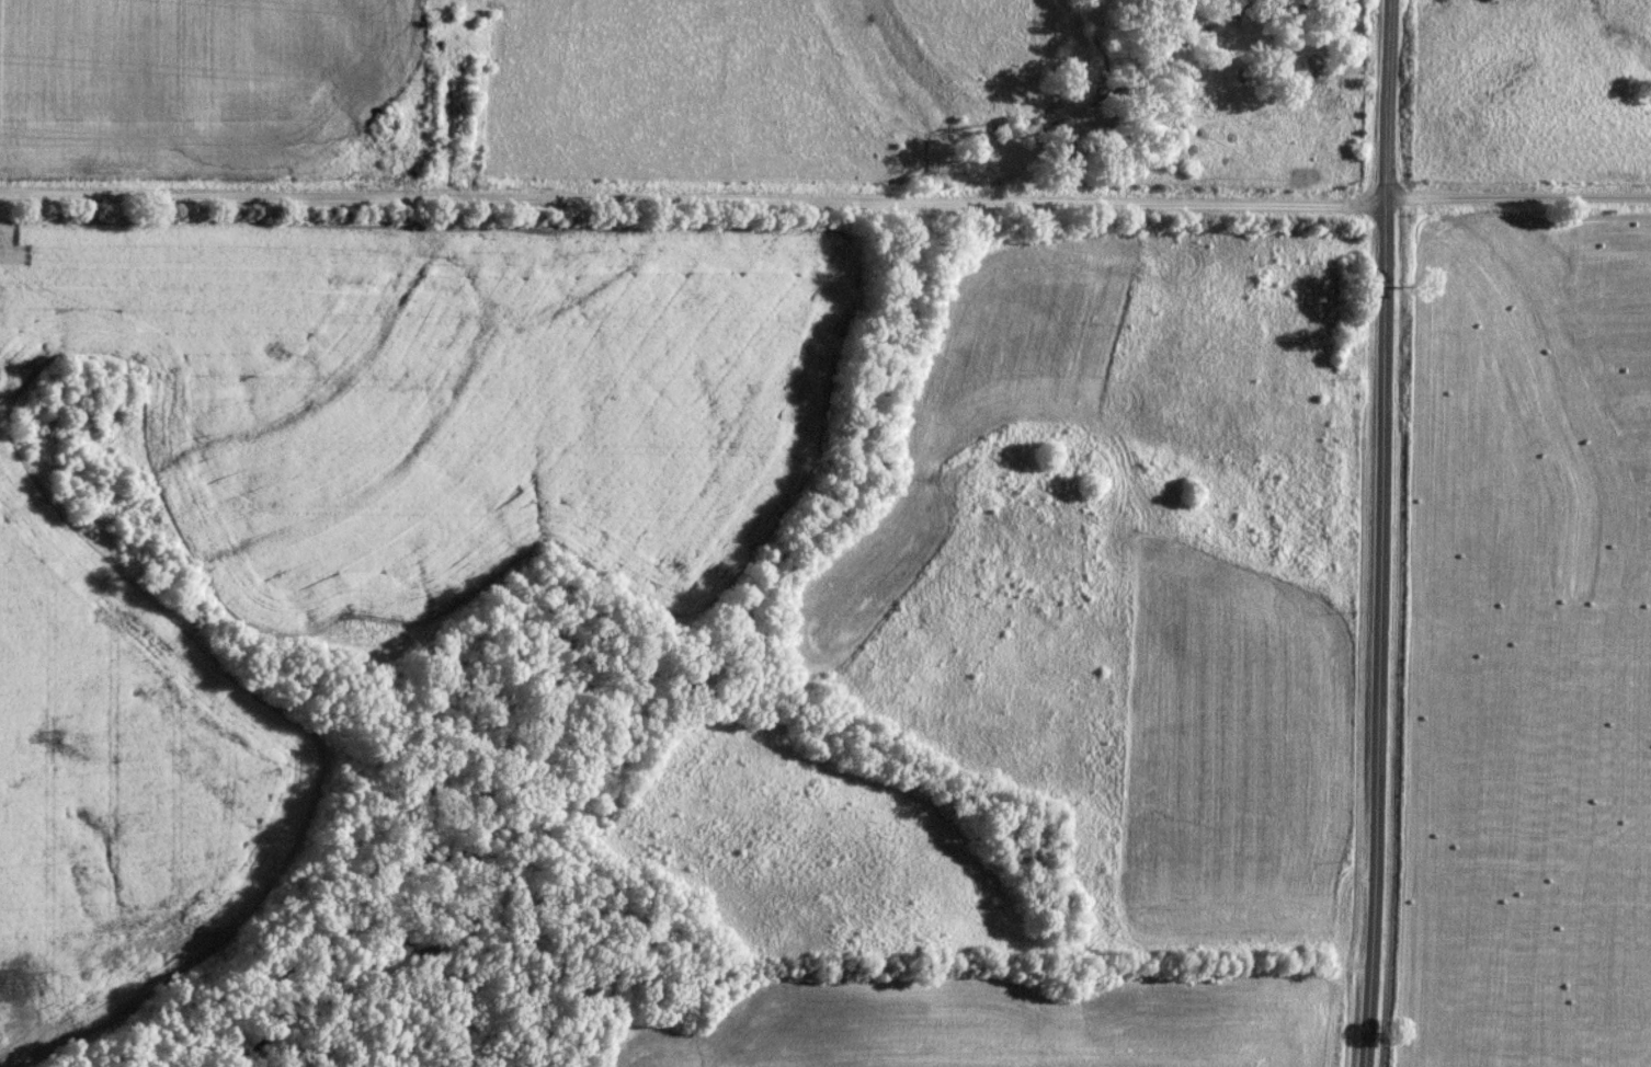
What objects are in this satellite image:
road: (690, 195)
road: (1515, 199)
road: (1381, 533)

